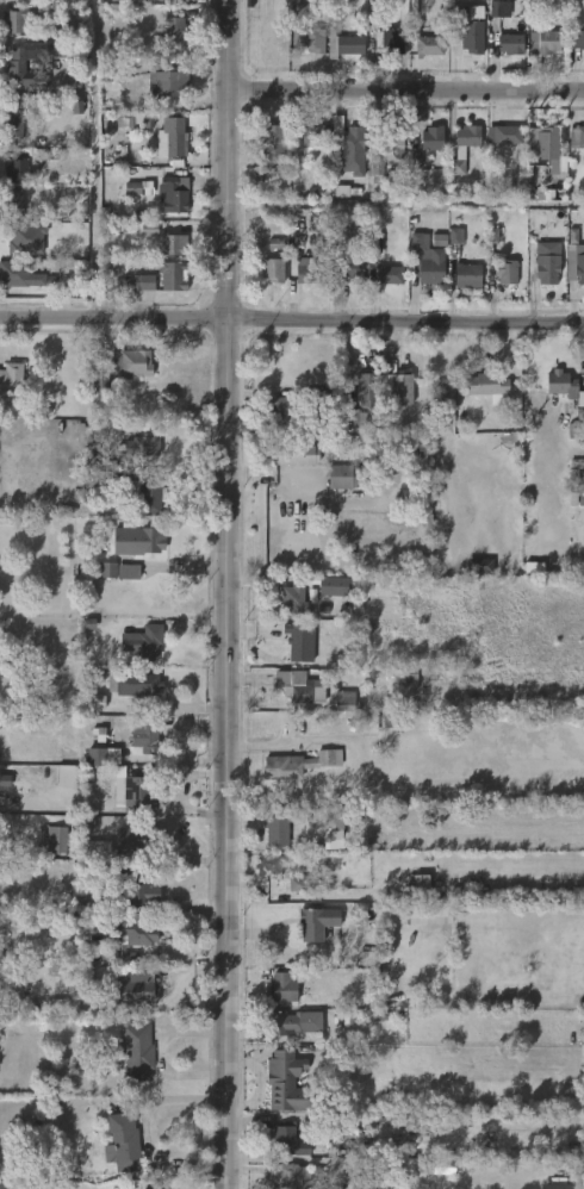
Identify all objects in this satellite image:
building: (174, 0)
building: (499, 8)
building: (17, 18)
building: (61, 29)
building: (173, 30)
building: (304, 30)
building: (468, 30)
building: (390, 38)
building: (582, 38)
building: (543, 41)
building: (510, 43)
building: (349, 44)
building: (424, 45)
building: (17, 67)
building: (163, 81)
road: (408, 92)
building: (13, 118)
building: (505, 135)
building: (311, 136)
building: (392, 136)
building: (577, 136)
building: (268, 138)
building: (176, 139)
building: (547, 142)
building: (425, 144)
building: (464, 145)
building: (350, 147)
building: (15, 170)
building: (138, 188)
building: (173, 193)
building: (12, 201)
building: (455, 236)
building: (25, 238)
building: (173, 243)
building: (275, 243)
building: (373, 245)
building: (574, 255)
building: (424, 260)
building: (547, 260)
building: (346, 267)
building: (272, 269)
building: (507, 272)
building: (311, 273)
building: (389, 274)
building: (18, 275)
building: (172, 275)
building: (467, 275)
building: (137, 281)
road: (292, 322)
building: (130, 362)
building: (11, 381)
building: (100, 384)
building: (563, 384)
building: (486, 385)
building: (400, 387)
building: (367, 388)
building: (580, 399)
building: (306, 411)
building: (353, 419)
building: (141, 447)
building: (297, 454)
building: (347, 477)
building: (99, 479)
building: (576, 481)
building: (151, 496)
building: (576, 506)
building: (136, 541)
building: (479, 566)
building: (119, 571)
building: (334, 586)
road: (230, 593)
building: (296, 599)
building: (302, 641)
building: (145, 642)
building: (29, 679)
building: (136, 684)
building: (299, 687)
building: (97, 702)
building: (344, 702)
building: (393, 720)
building: (368, 724)
building: (144, 741)
building: (100, 757)
building: (294, 765)
building: (141, 791)
building: (338, 818)
building: (278, 827)
building: (137, 840)
building: (335, 840)
building: (55, 845)
building: (97, 847)
building: (268, 865)
building: (297, 884)
building: (420, 888)
building: (137, 890)
building: (429, 914)
building: (316, 923)
building: (138, 932)
building: (0, 942)
building: (108, 954)
building: (130, 958)
building: (282, 986)
building: (136, 989)
building: (61, 1007)
building: (285, 1022)
building: (138, 1051)
building: (286, 1081)
building: (423, 1119)
building: (124, 1134)
building: (288, 1139)
building: (435, 1166)
building: (288, 1176)
building: (558, 1187)

